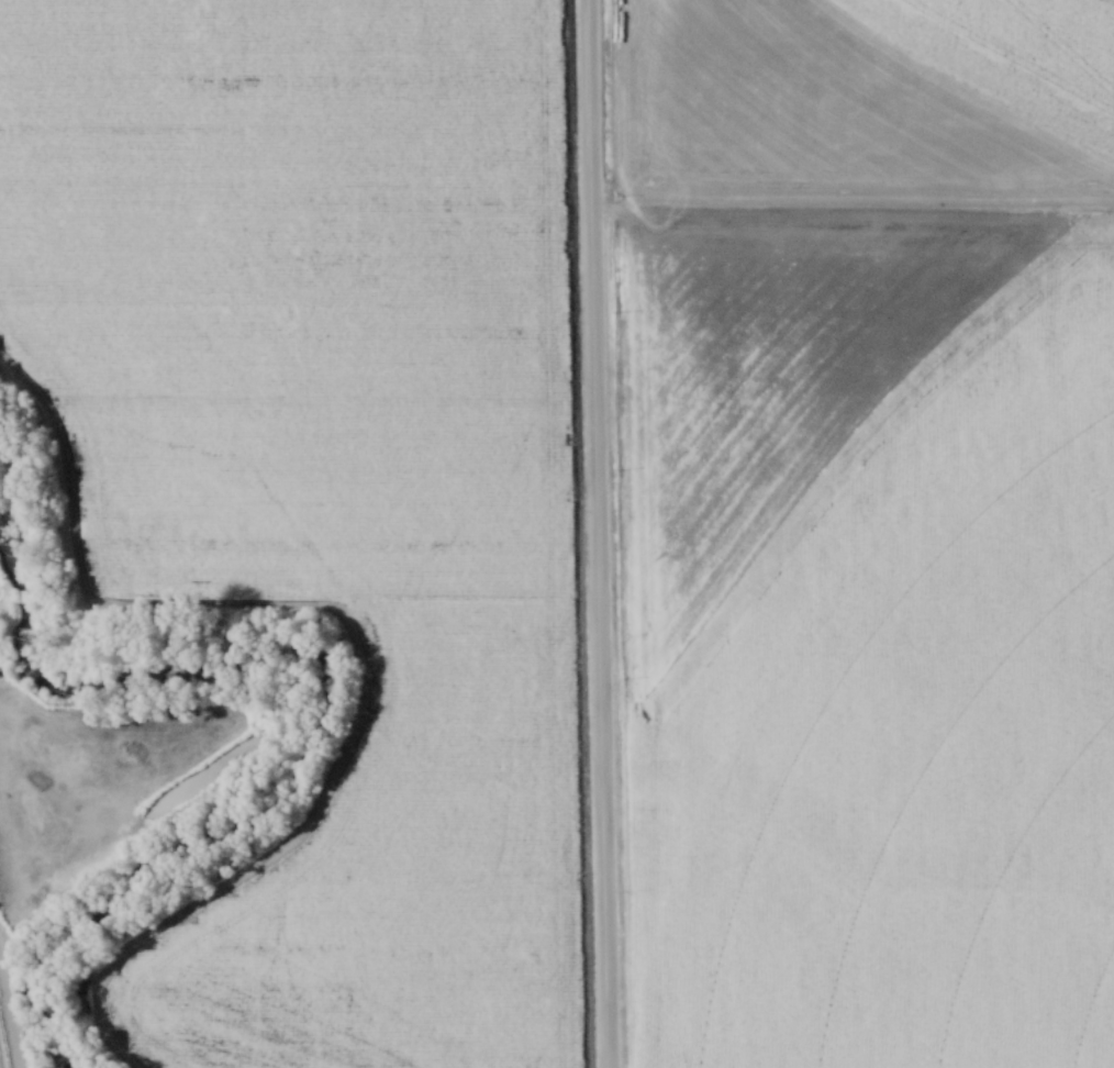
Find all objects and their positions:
road: (593, 534)

